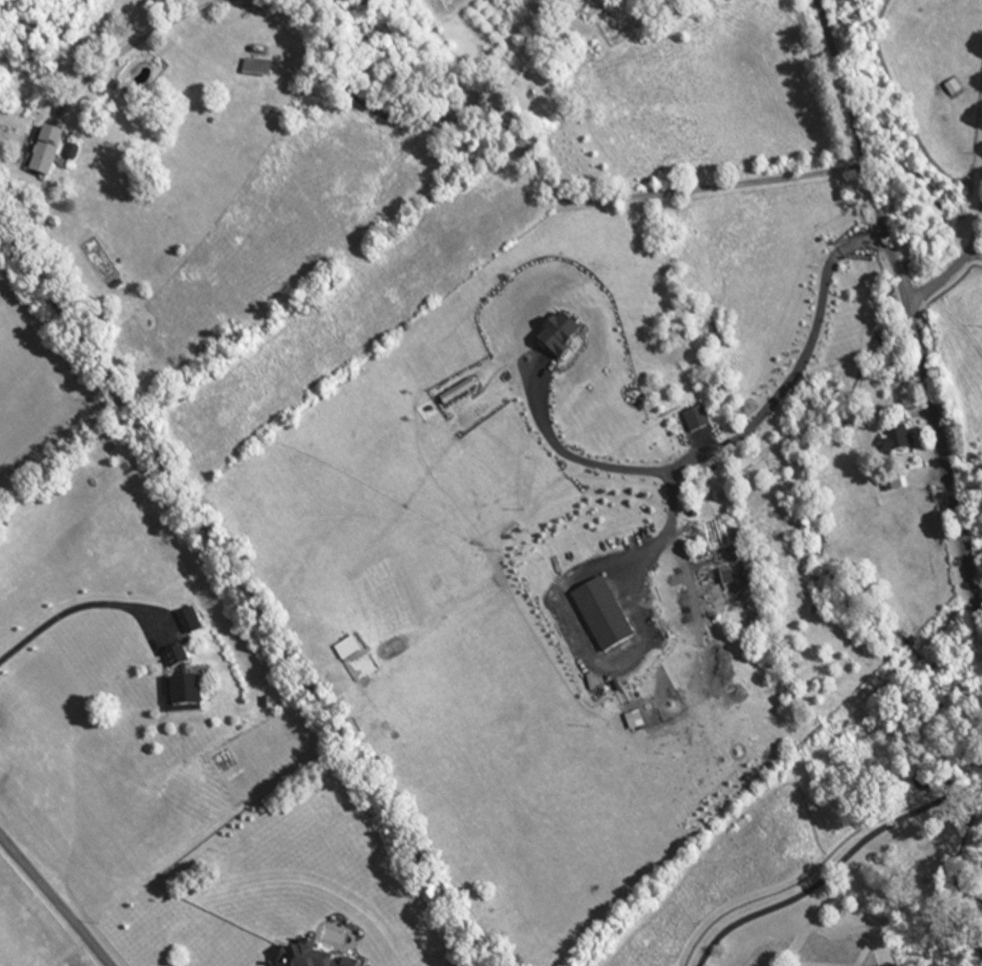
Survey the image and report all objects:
road: (135, 41)
building: (252, 70)
building: (949, 90)
building: (41, 154)
road: (530, 160)
road: (963, 247)
road: (969, 255)
road: (901, 310)
road: (734, 434)
building: (894, 439)
building: (729, 575)
road: (245, 589)
road: (75, 607)
building: (186, 621)
building: (172, 658)
building: (179, 695)
road: (833, 867)
road: (55, 900)
building: (302, 958)
building: (349, 962)

